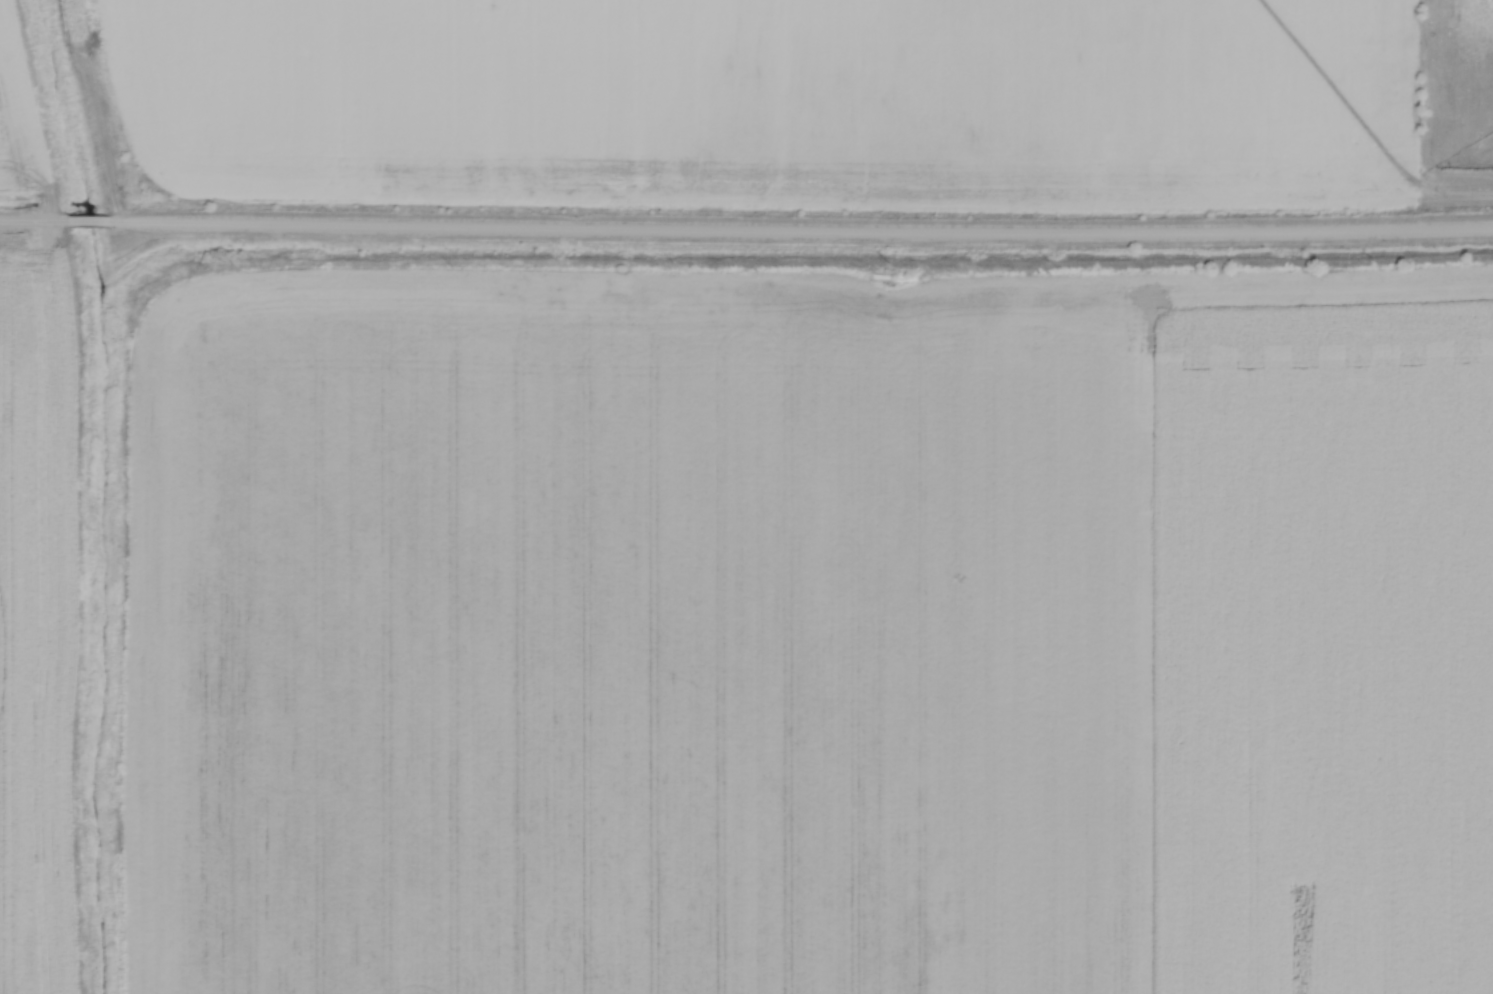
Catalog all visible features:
road: (34, 221)
road: (90, 221)
road: (802, 236)

